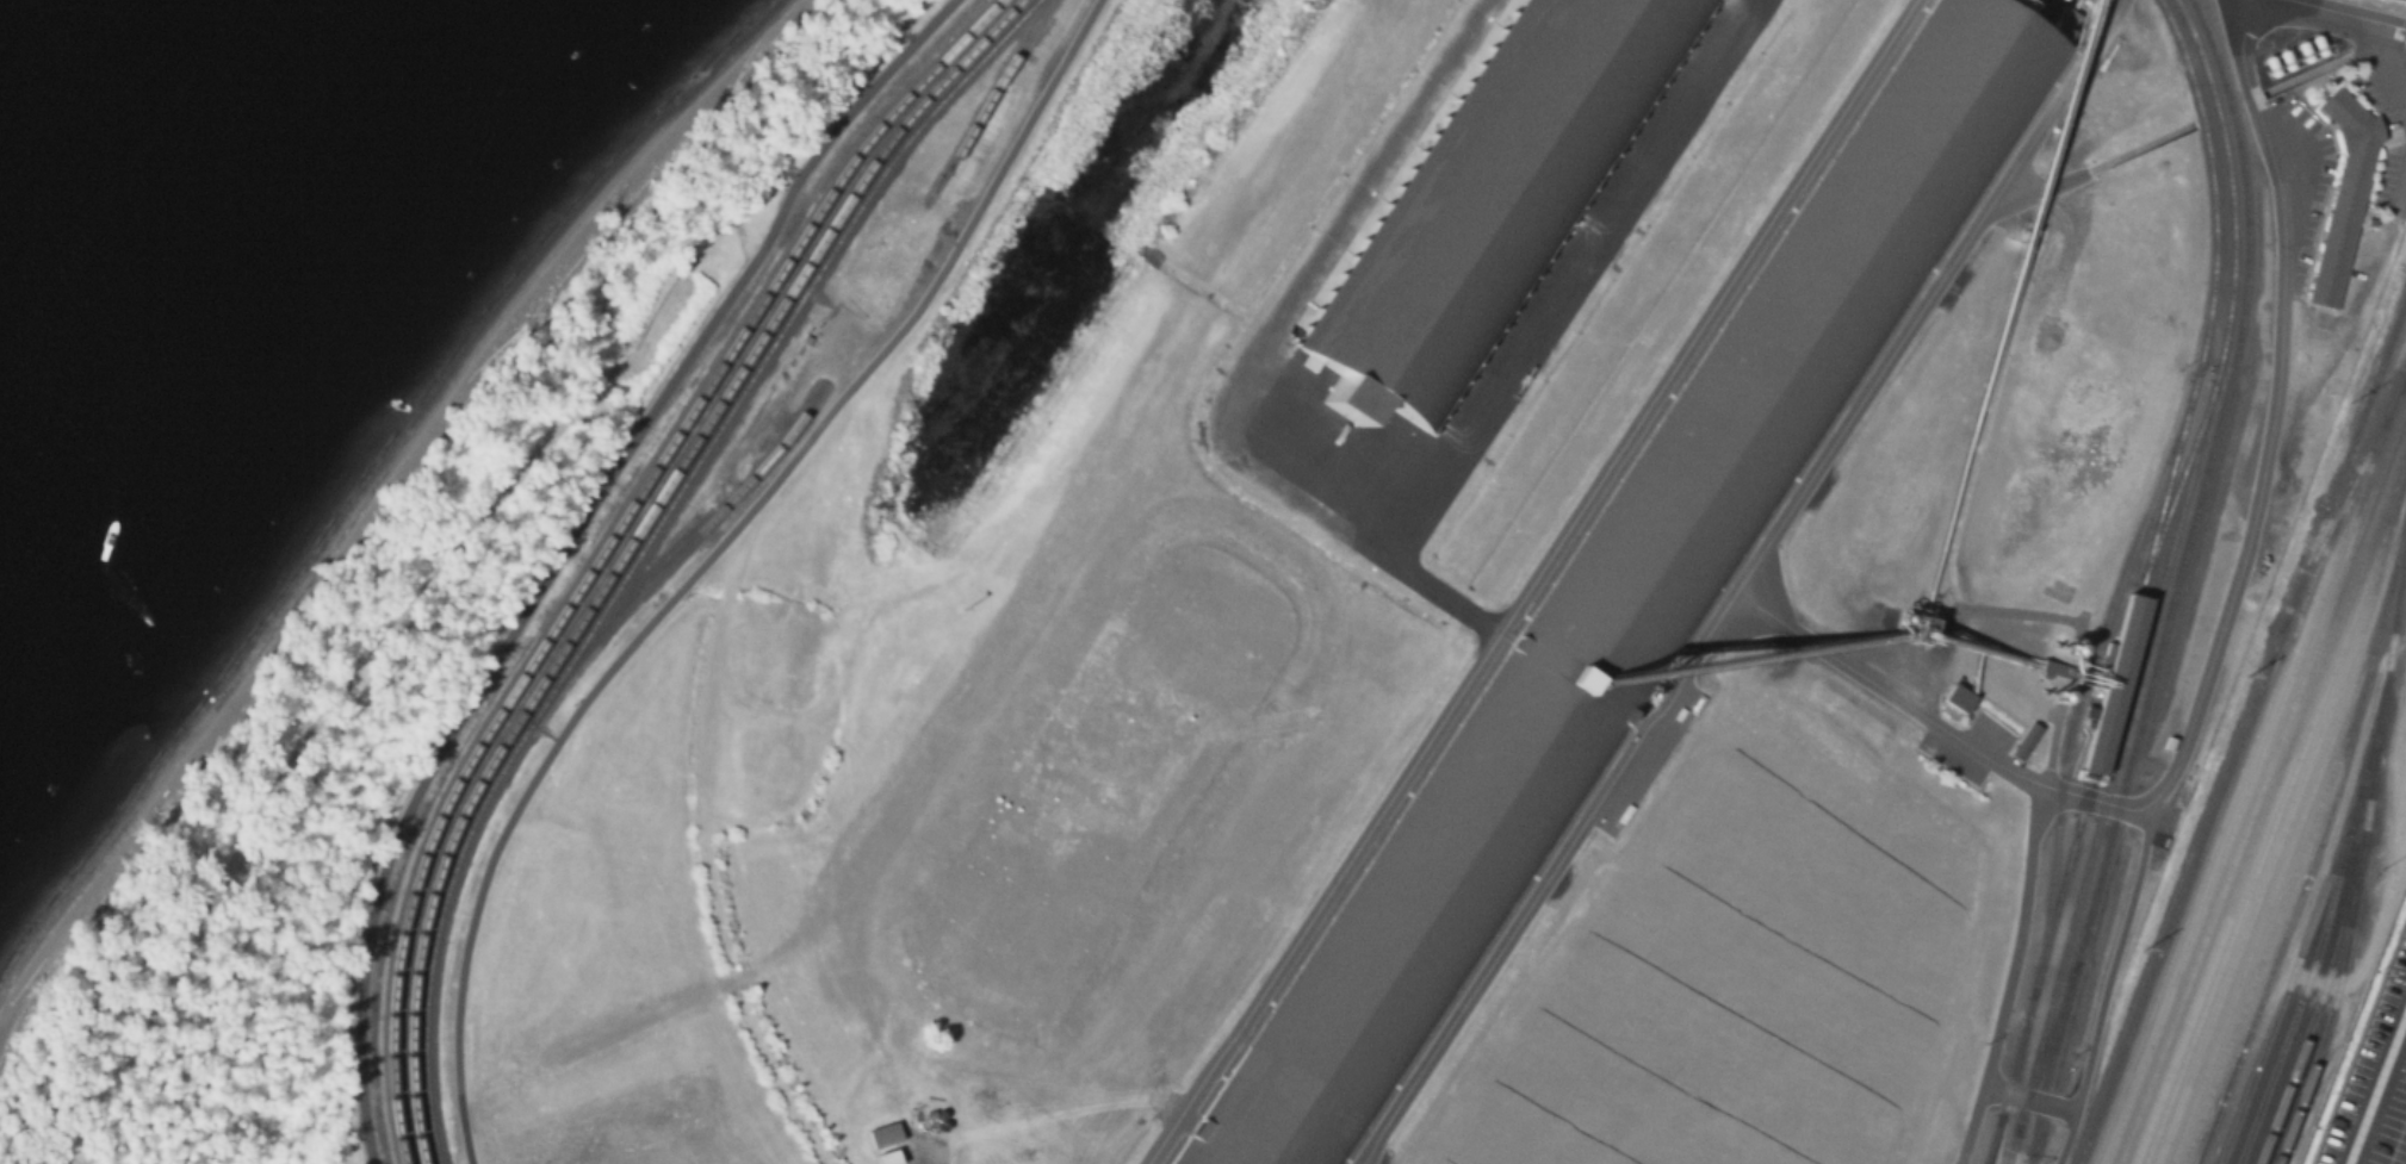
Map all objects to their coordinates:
road: (2349, 13)
building: (2400, 35)
road: (2393, 60)
railway: (990, 102)
road: (2401, 187)
building: (2340, 194)
building: (1492, 195)
road: (1929, 298)
railway: (2349, 447)
railway: (2179, 480)
railway: (692, 540)
railway: (610, 544)
railway: (632, 544)
road: (569, 546)
railway: (651, 546)
road: (709, 556)
road: (1528, 580)
railway: (2141, 583)
railway: (2162, 583)
railway: (2175, 583)
building: (1630, 586)
building: (1923, 629)
road: (2220, 637)
building: (2055, 668)
railway: (2084, 680)
building: (2114, 687)
building: (1959, 696)
building: (2022, 739)
railway: (2230, 762)
railway: (2253, 770)
railway: (2262, 782)
railway: (2269, 797)
railway: (2275, 816)
railway: (2287, 820)
railway: (2216, 830)
railway: (2292, 840)
railway: (2333, 861)
railway: (2294, 864)
road: (1550, 878)
railway: (2288, 919)
railway: (2351, 923)
railway: (2308, 973)
road: (2008, 977)
road: (2106, 986)
railway: (2319, 998)
railway: (2046, 1048)
railway: (2014, 1091)
road: (2027, 1095)
building: (882, 1137)
railway: (1991, 1144)
building: (883, 1158)

